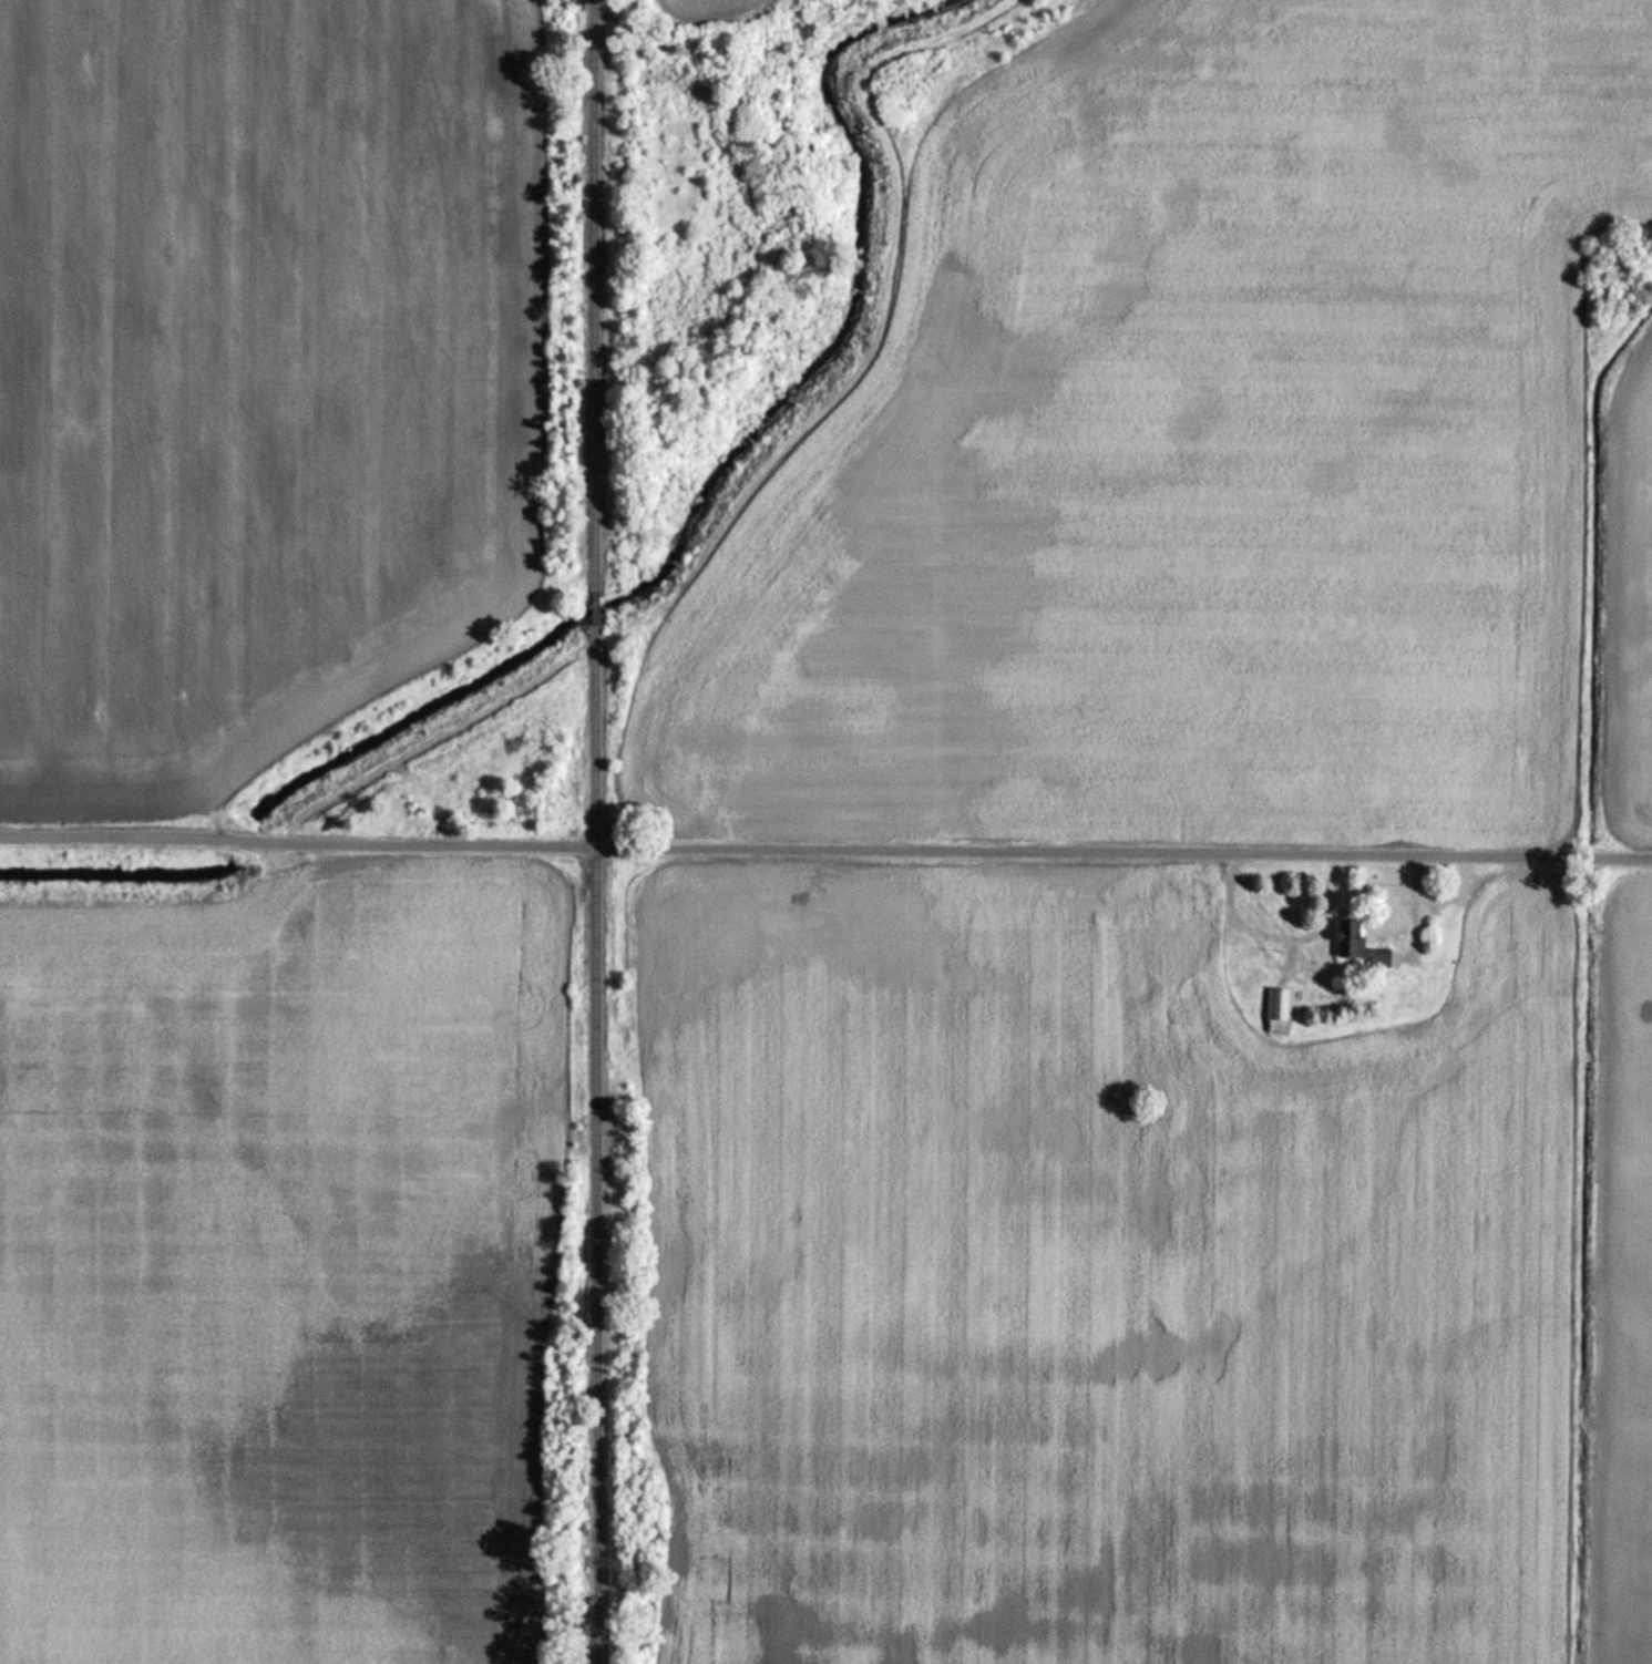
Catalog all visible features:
railway: (596, 831)
road: (825, 851)
building: (1174, 931)
building: (1353, 946)
building: (1278, 1011)

